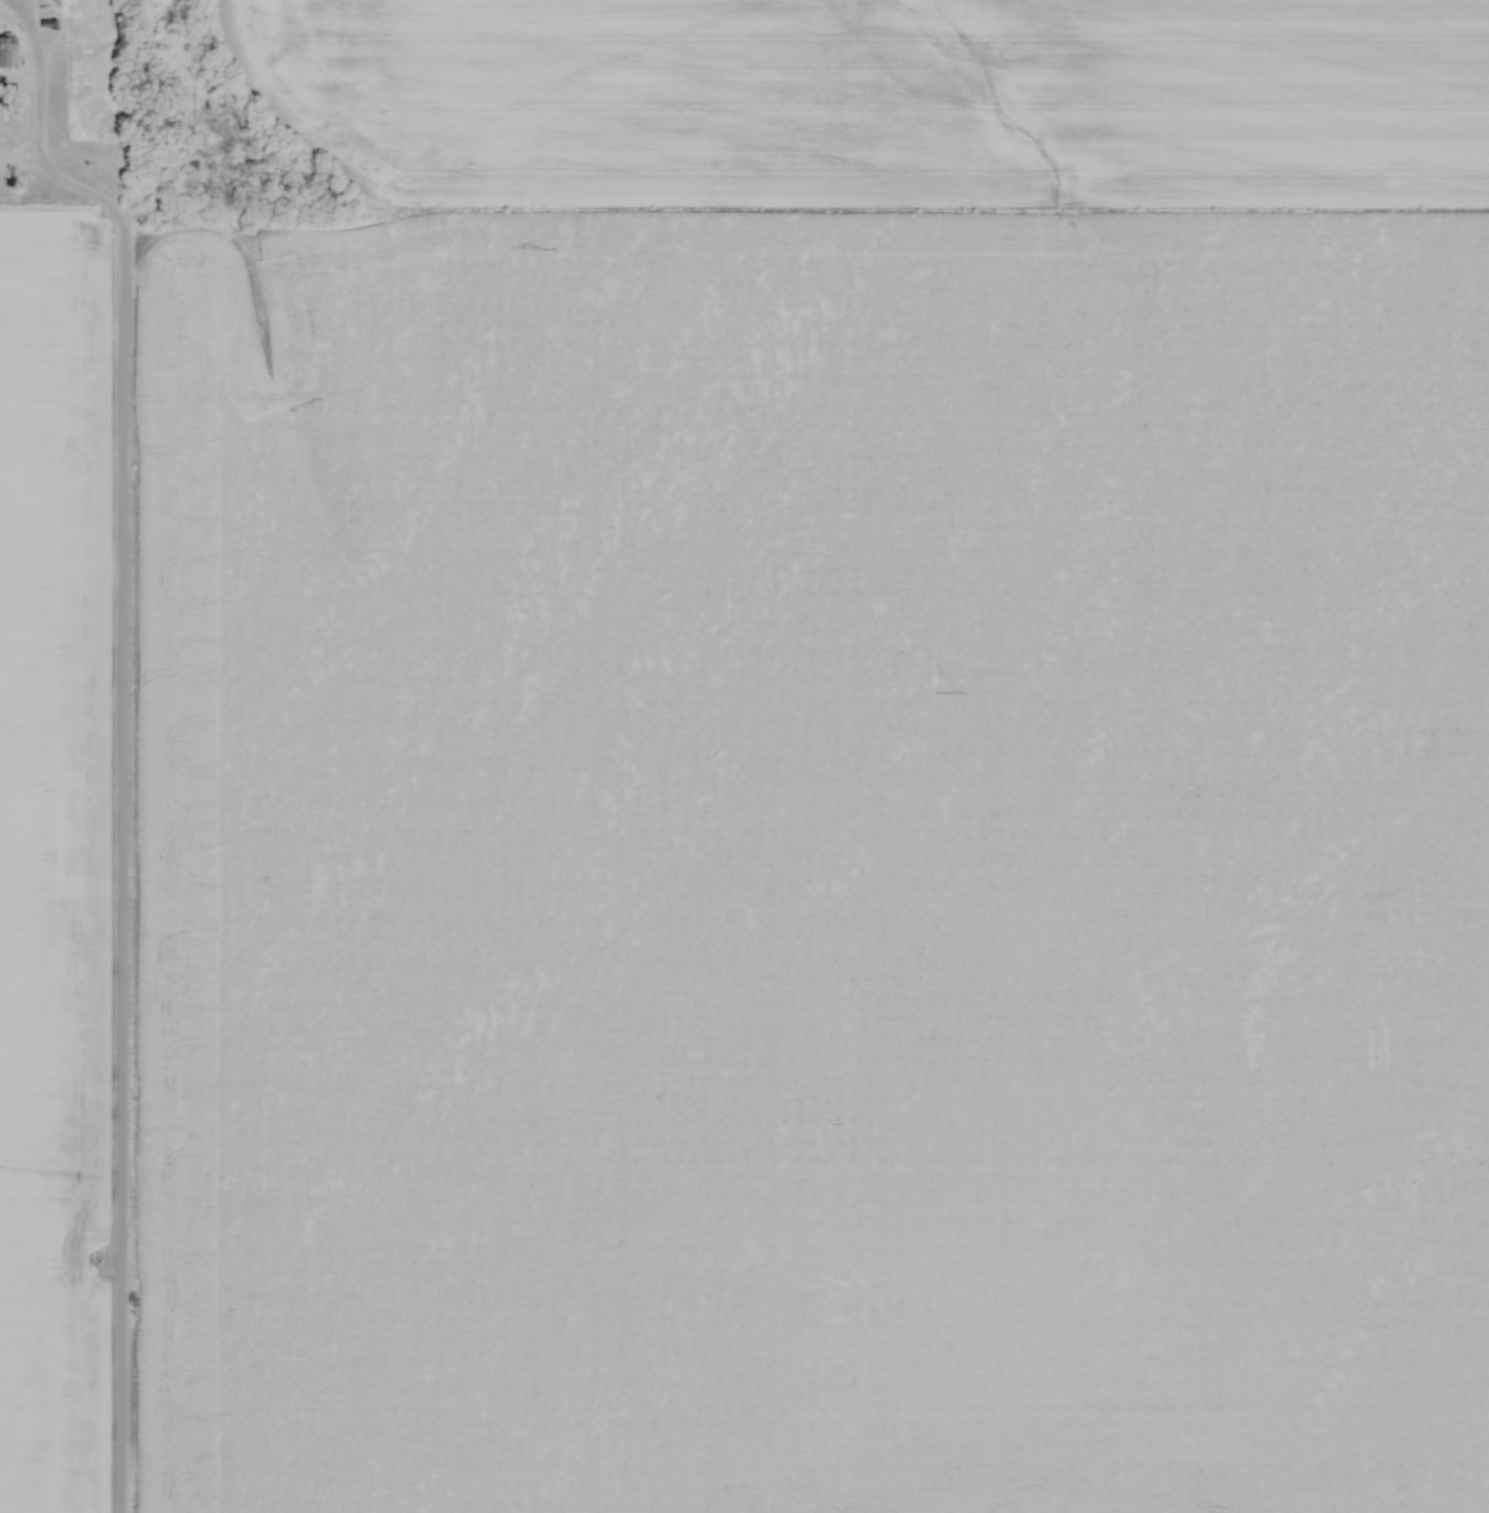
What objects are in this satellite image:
building: (4, 54)
road: (120, 730)

